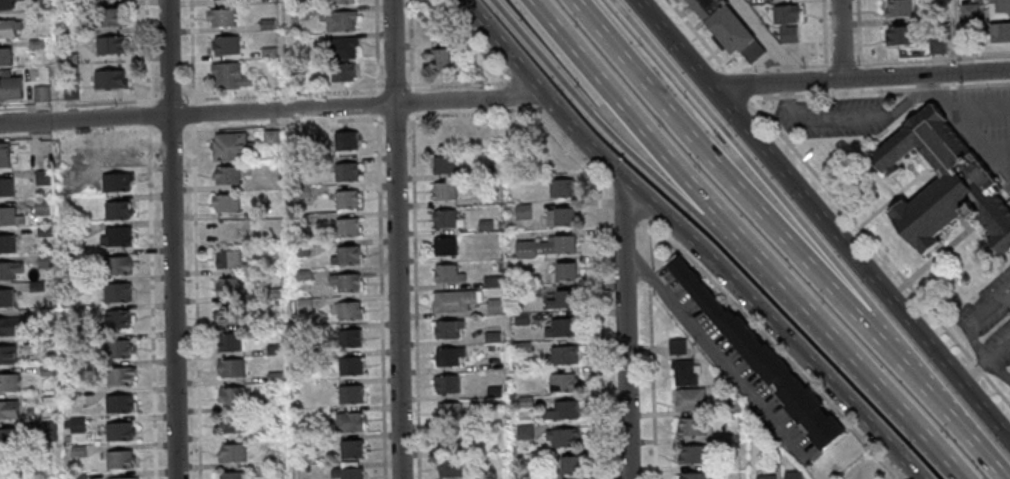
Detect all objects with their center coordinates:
building: (103, 0)
building: (220, 0)
building: (338, 2)
building: (67, 3)
building: (5, 5)
building: (900, 8)
building: (999, 9)
building: (34, 16)
building: (109, 19)
building: (221, 19)
building: (338, 22)
building: (788, 24)
building: (266, 25)
building: (727, 28)
building: (70, 29)
building: (7, 30)
building: (1000, 31)
building: (900, 35)
road: (840, 40)
road: (771, 41)
building: (35, 44)
building: (110, 46)
building: (225, 46)
building: (339, 50)
building: (268, 54)
building: (5, 58)
building: (69, 59)
building: (439, 60)
building: (342, 73)
building: (297, 74)
building: (229, 78)
road: (860, 78)
building: (111, 79)
building: (10, 88)
building: (70, 93)
building: (40, 95)
road: (789, 100)
road: (958, 105)
road: (272, 110)
road: (864, 116)
road: (596, 119)
road: (287, 123)
building: (269, 137)
building: (343, 139)
road: (978, 139)
building: (230, 146)
building: (3, 154)
road: (997, 161)
building: (442, 163)
road: (747, 165)
building: (300, 168)
building: (344, 171)
road: (716, 171)
building: (225, 174)
building: (42, 177)
building: (941, 180)
building: (115, 181)
building: (5, 186)
building: (559, 187)
building: (442, 190)
building: (301, 193)
building: (487, 197)
building: (345, 199)
building: (224, 202)
building: (40, 207)
building: (115, 210)
building: (521, 212)
building: (9, 216)
building: (559, 216)
building: (444, 218)
building: (299, 220)
road: (824, 220)
road: (596, 223)
building: (484, 225)
building: (345, 226)
building: (73, 230)
building: (225, 230)
building: (43, 231)
road: (148, 231)
building: (114, 236)
road: (171, 239)
road: (395, 239)
road: (735, 239)
road: (689, 241)
building: (6, 243)
building: (442, 246)
building: (543, 246)
building: (299, 249)
building: (344, 255)
building: (72, 257)
road: (689, 257)
building: (227, 259)
building: (44, 260)
building: (117, 263)
building: (9, 269)
building: (562, 271)
building: (446, 274)
building: (302, 275)
building: (344, 281)
building: (490, 281)
building: (74, 284)
building: (35, 286)
building: (227, 286)
building: (531, 291)
building: (116, 292)
building: (272, 294)
building: (5, 296)
road: (414, 298)
building: (561, 299)
building: (451, 301)
building: (302, 306)
building: (493, 306)
road: (989, 306)
building: (347, 310)
building: (74, 312)
building: (228, 314)
building: (44, 315)
building: (115, 318)
building: (520, 319)
building: (8, 326)
building: (560, 327)
building: (446, 328)
road: (625, 328)
building: (347, 337)
building: (490, 337)
building: (45, 342)
building: (227, 342)
building: (676, 346)
building: (521, 347)
building: (116, 348)
building: (489, 348)
building: (272, 349)
building: (6, 354)
building: (560, 355)
building: (446, 356)
road: (715, 356)
road: (984, 356)
building: (762, 361)
road: (985, 361)
building: (348, 365)
parking lot: (730, 365)
building: (229, 367)
building: (46, 370)
building: (74, 370)
building: (682, 372)
building: (118, 375)
building: (273, 377)
building: (9, 382)
building: (560, 382)
building: (444, 383)
road: (923, 387)
building: (493, 392)
building: (349, 393)
building: (230, 395)
building: (46, 398)
building: (688, 399)
building: (523, 401)
building: (117, 403)
building: (8, 409)
building: (560, 410)
building: (447, 411)
building: (348, 420)
building: (230, 422)
building: (690, 426)
building: (117, 430)
building: (47, 431)
building: (523, 432)
building: (8, 436)
building: (561, 436)
building: (448, 439)
building: (349, 448)
building: (76, 451)
building: (231, 452)
building: (273, 453)
building: (691, 454)
building: (116, 458)
building: (305, 458)
road: (983, 459)
building: (568, 463)
building: (448, 467)
building: (305, 469)
building: (346, 471)
building: (228, 475)
building: (690, 475)
building: (791, 475)
building: (77, 476)
building: (123, 477)
building: (764, 477)

